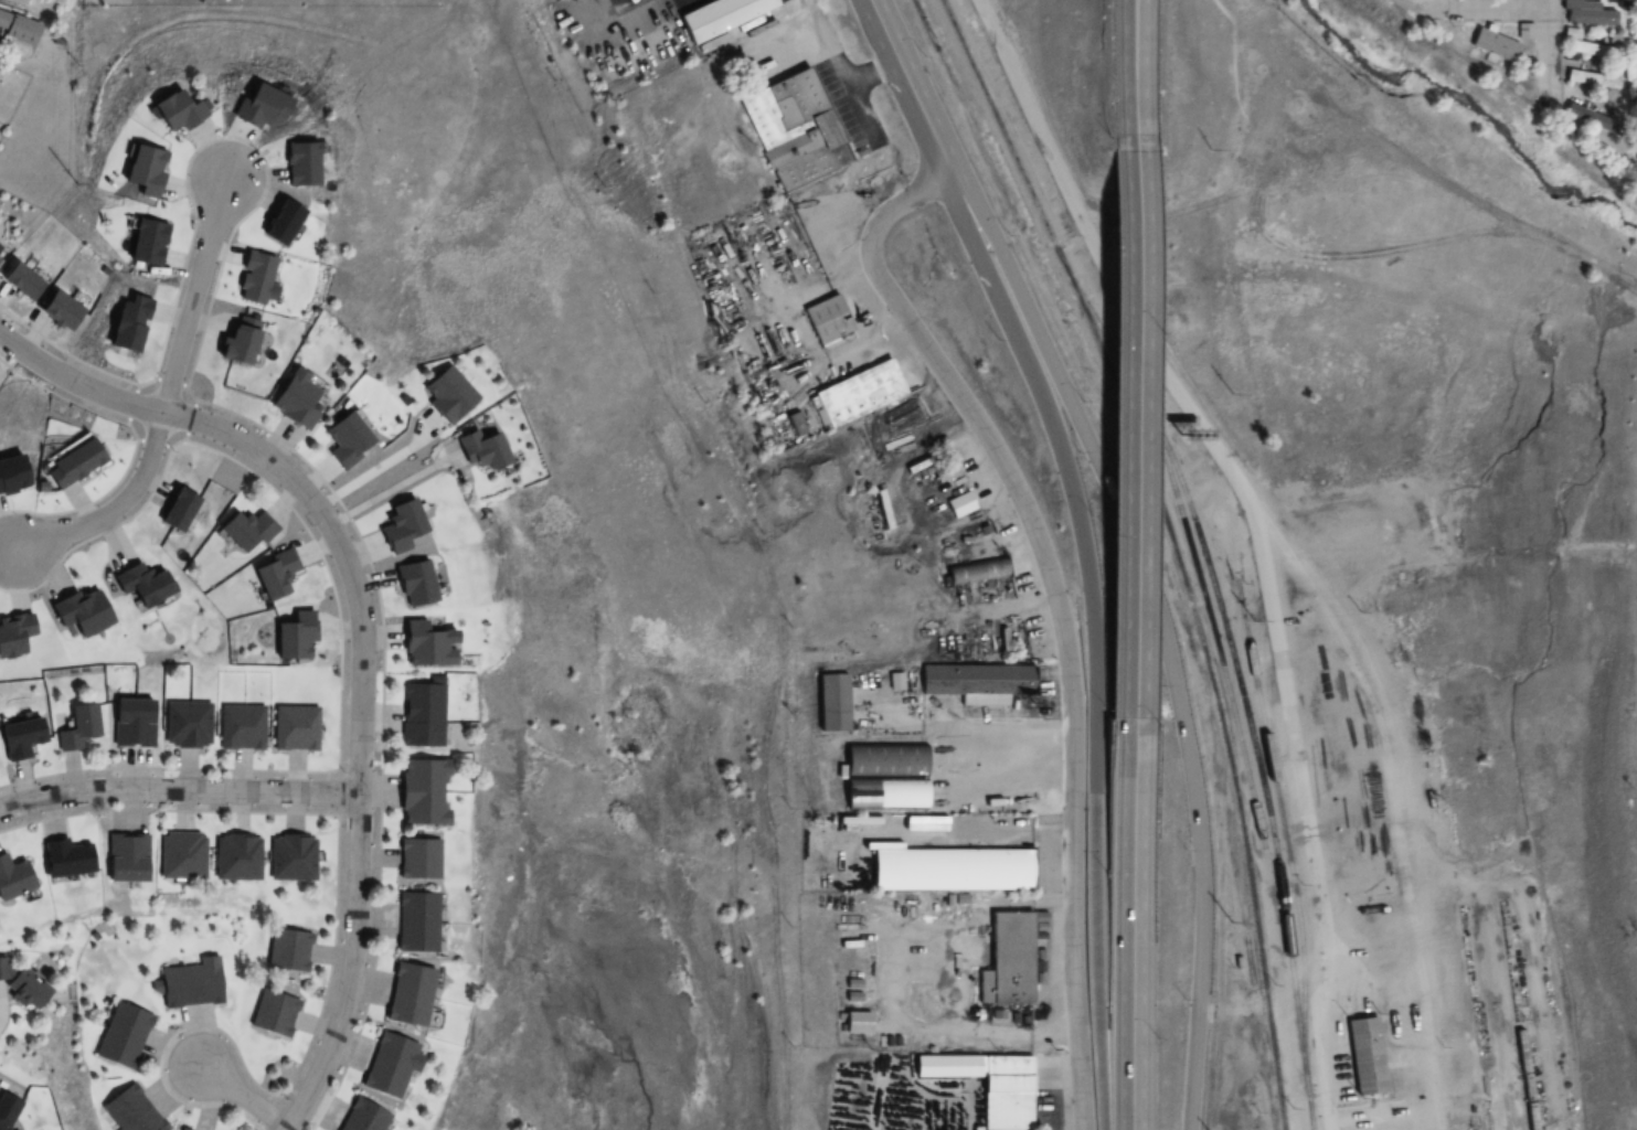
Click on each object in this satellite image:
road: (1466, 10)
building: (1585, 13)
building: (719, 17)
road: (993, 28)
building: (19, 29)
road: (1550, 49)
building: (1591, 50)
road: (1146, 74)
building: (1592, 79)
road: (913, 88)
building: (1587, 118)
building: (794, 130)
power tower: (1200, 149)
building: (0, 249)
building: (253, 278)
building: (19, 280)
road: (195, 295)
building: (57, 310)
road: (1031, 316)
building: (827, 320)
building: (237, 341)
road: (1033, 375)
building: (446, 394)
building: (859, 394)
power tower: (1221, 394)
building: (294, 399)
building: (797, 425)
road: (159, 427)
road: (1144, 433)
building: (346, 440)
building: (480, 450)
building: (943, 471)
road: (1246, 497)
building: (959, 505)
building: (398, 526)
building: (243, 532)
railway: (1173, 545)
building: (976, 572)
building: (273, 576)
building: (414, 585)
road: (1057, 605)
railway: (1210, 615)
power tower: (1255, 621)
building: (294, 637)
road: (361, 637)
building: (424, 647)
railway: (1231, 650)
building: (976, 683)
building: (833, 703)
building: (421, 713)
building: (131, 724)
building: (185, 725)
building: (75, 727)
building: (240, 728)
building: (294, 728)
building: (19, 739)
building: (883, 778)
road: (179, 789)
road: (1197, 789)
building: (421, 792)
railway: (1278, 808)
road: (1097, 855)
building: (178, 857)
building: (123, 859)
building: (234, 859)
building: (64, 860)
building: (289, 860)
building: (417, 860)
building: (949, 871)
building: (12, 880)
building: (414, 923)
road: (1136, 923)
building: (286, 950)
building: (1007, 961)
building: (20, 987)
building: (190, 987)
building: (406, 995)
road: (0, 1010)
building: (273, 1013)
building: (857, 1023)
building: (121, 1036)
building: (1363, 1047)
building: (389, 1066)
building: (990, 1086)
railway: (1309, 1095)
road: (244, 1097)
building: (130, 1111)
building: (361, 1117)
building: (176, 1129)

